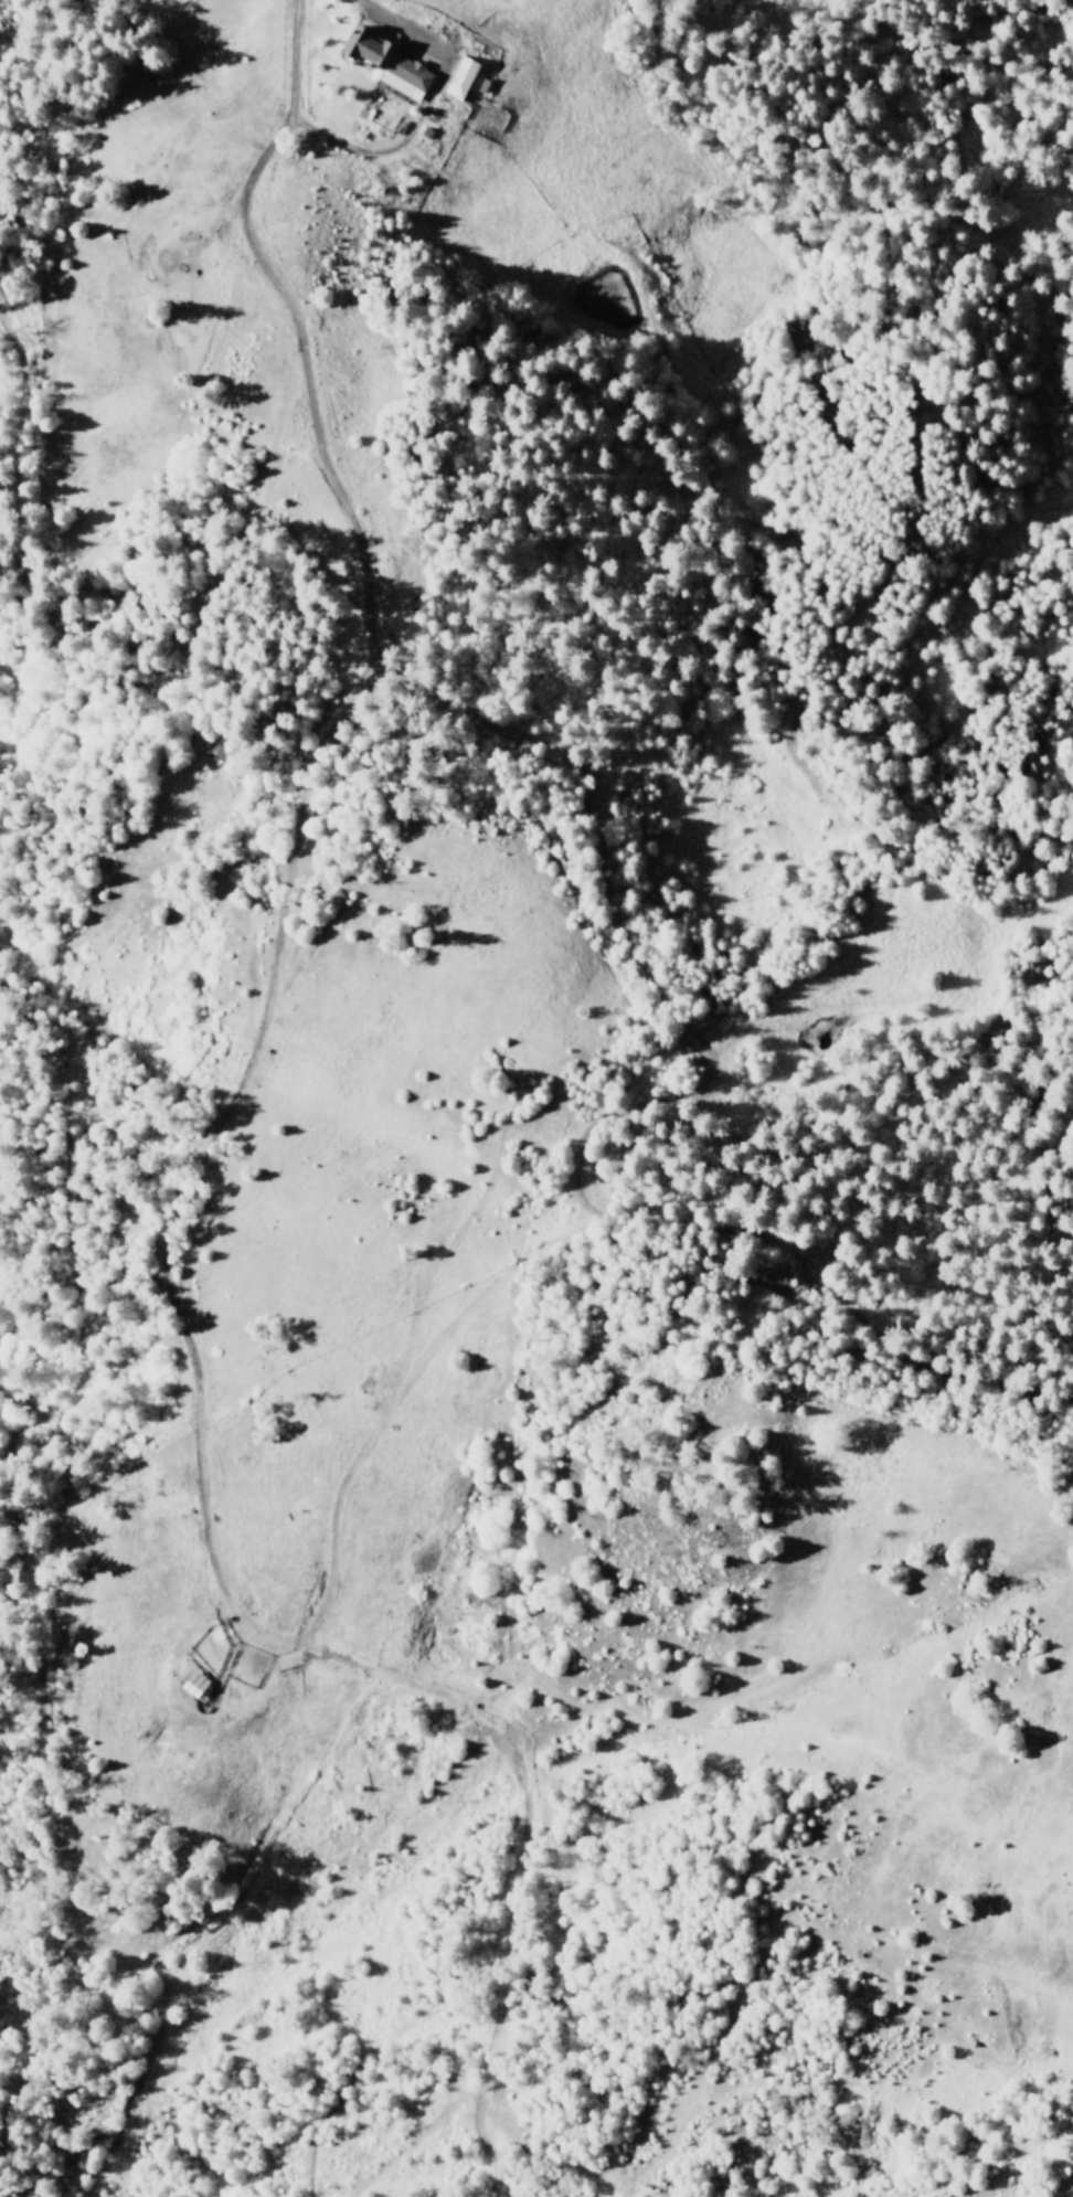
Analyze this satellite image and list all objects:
building: (389, 63)
building: (461, 77)
road: (289, 830)
building: (196, 1686)

